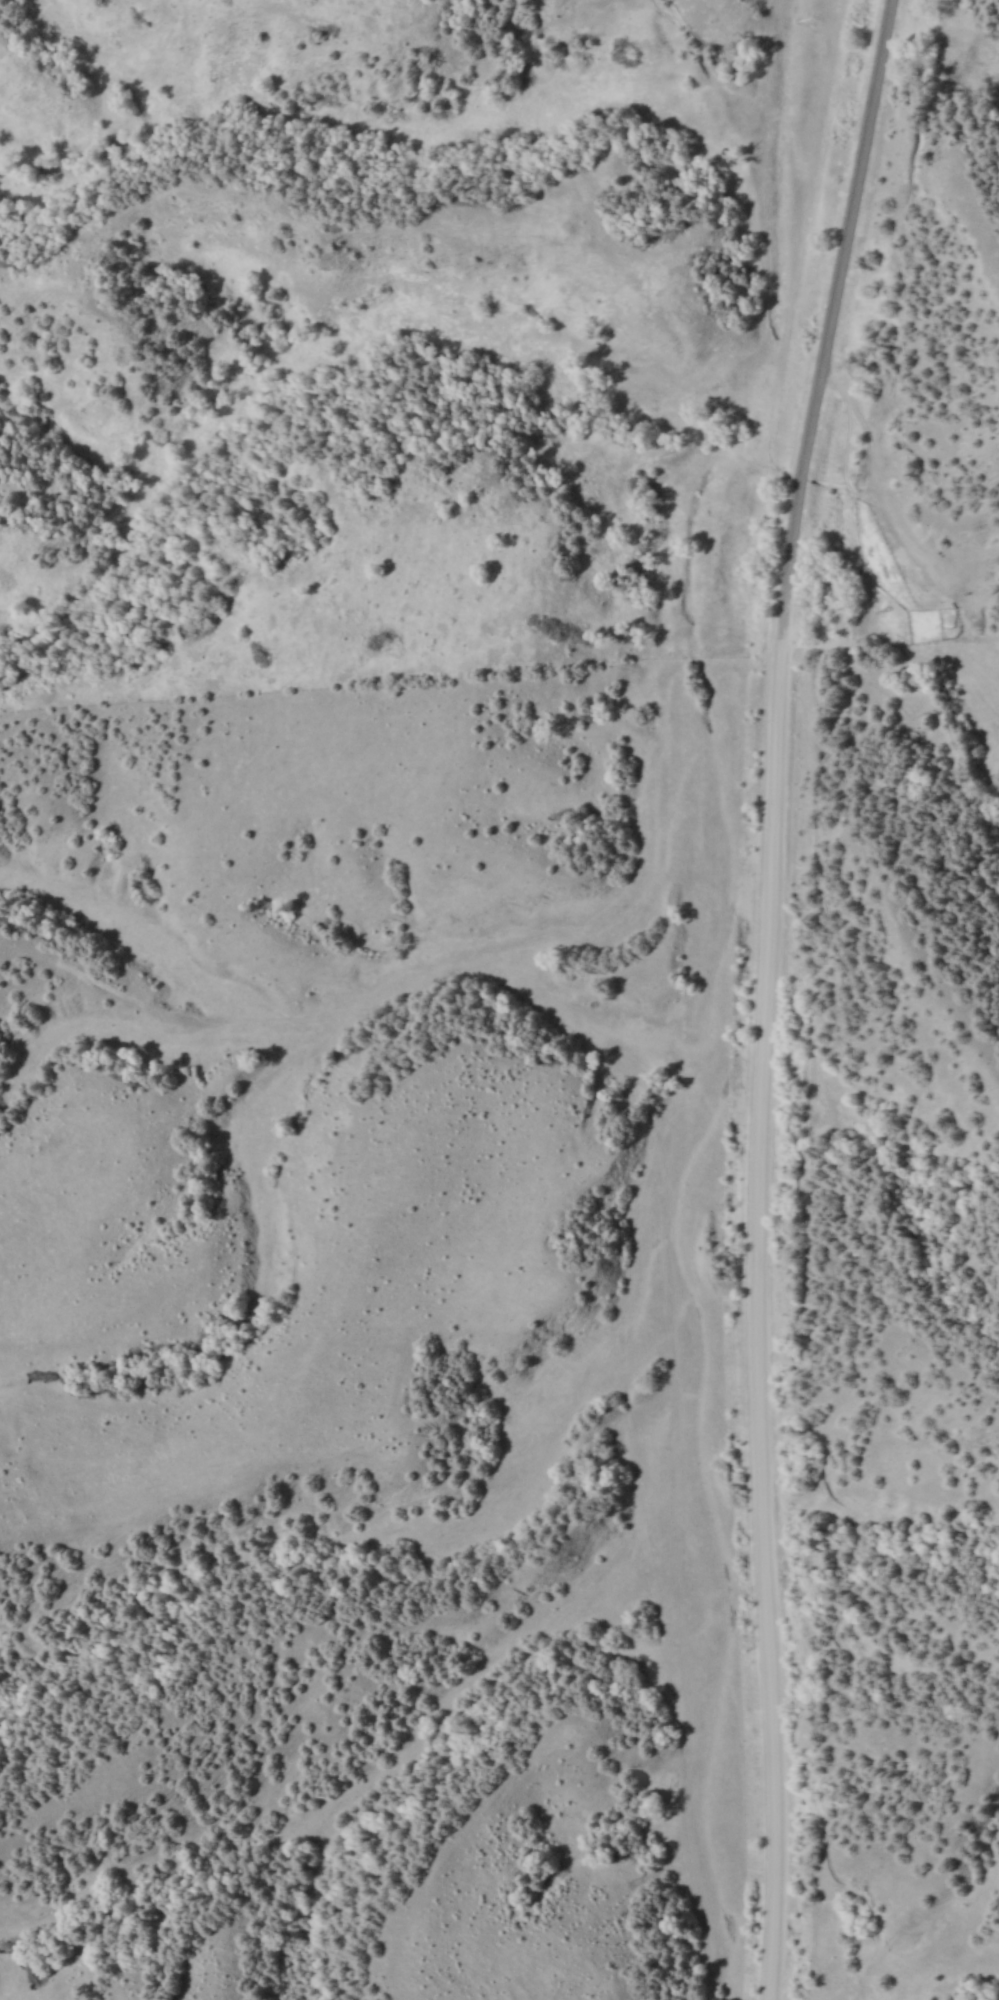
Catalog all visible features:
road: (831, 313)
road: (942, 807)
road: (917, 904)
road: (754, 1314)
crop: (898, 1323)
road: (798, 1331)

